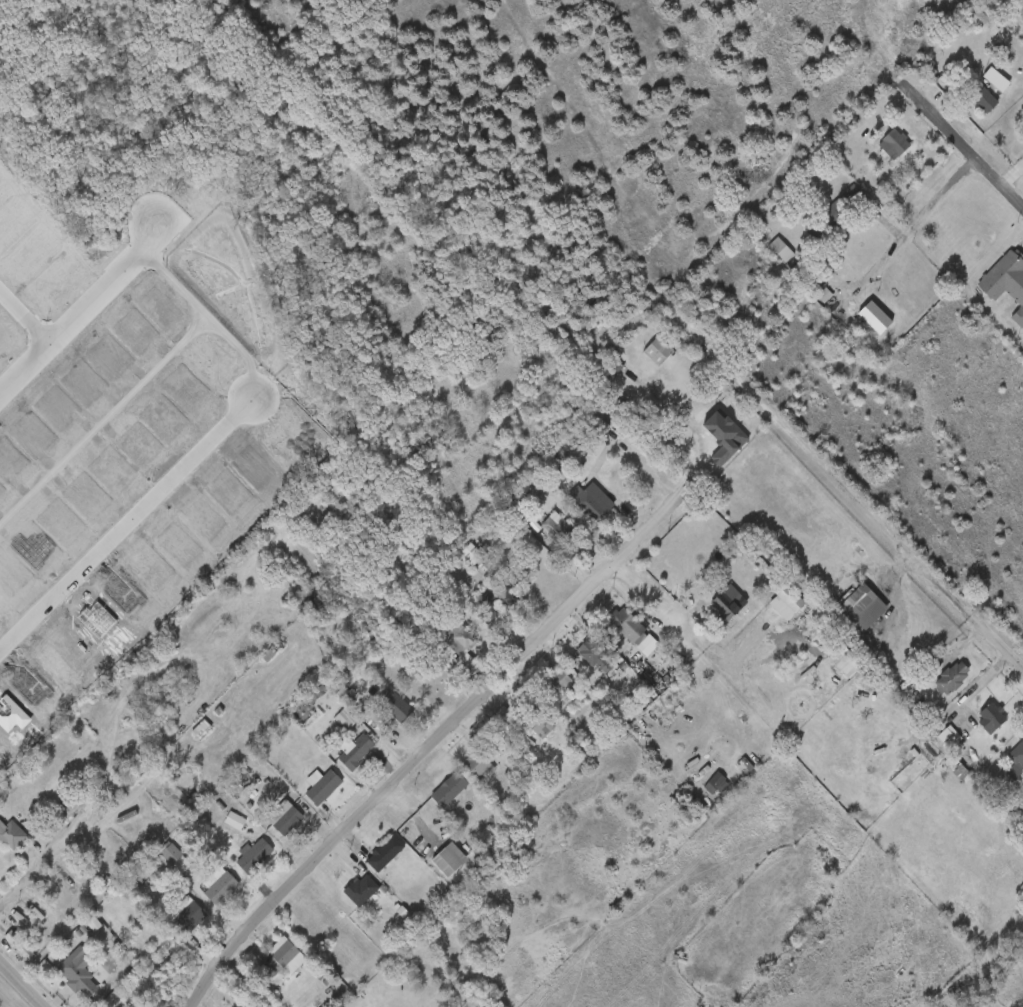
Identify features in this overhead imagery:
road: (871, 49)
building: (985, 96)
building: (895, 144)
road: (965, 148)
road: (967, 169)
building: (835, 213)
road: (902, 240)
building: (779, 249)
building: (1007, 281)
road: (99, 296)
building: (871, 316)
building: (659, 351)
road: (39, 353)
building: (596, 425)
road: (697, 428)
road: (605, 450)
building: (529, 494)
building: (592, 501)
building: (521, 511)
road: (866, 512)
road: (124, 530)
building: (562, 531)
building: (471, 556)
building: (432, 586)
road: (646, 593)
building: (723, 599)
building: (497, 601)
building: (858, 603)
building: (627, 623)
road: (693, 635)
building: (461, 644)
building: (596, 653)
road: (742, 654)
building: (949, 679)
building: (557, 682)
building: (394, 705)
building: (991, 716)
building: (522, 721)
building: (935, 747)
building: (354, 750)
road: (428, 750)
building: (1016, 761)
building: (480, 764)
building: (323, 787)
building: (452, 790)
building: (287, 818)
building: (235, 823)
building: (12, 835)
building: (385, 853)
building: (171, 856)
building: (256, 856)
building: (100, 859)
building: (449, 860)
road: (43, 866)
building: (221, 886)
building: (362, 891)
building: (62, 899)
building: (45, 913)
building: (187, 916)
building: (20, 948)
building: (281, 960)
building: (74, 971)
road: (18, 988)
road: (1, 1005)
building: (138, 1005)

